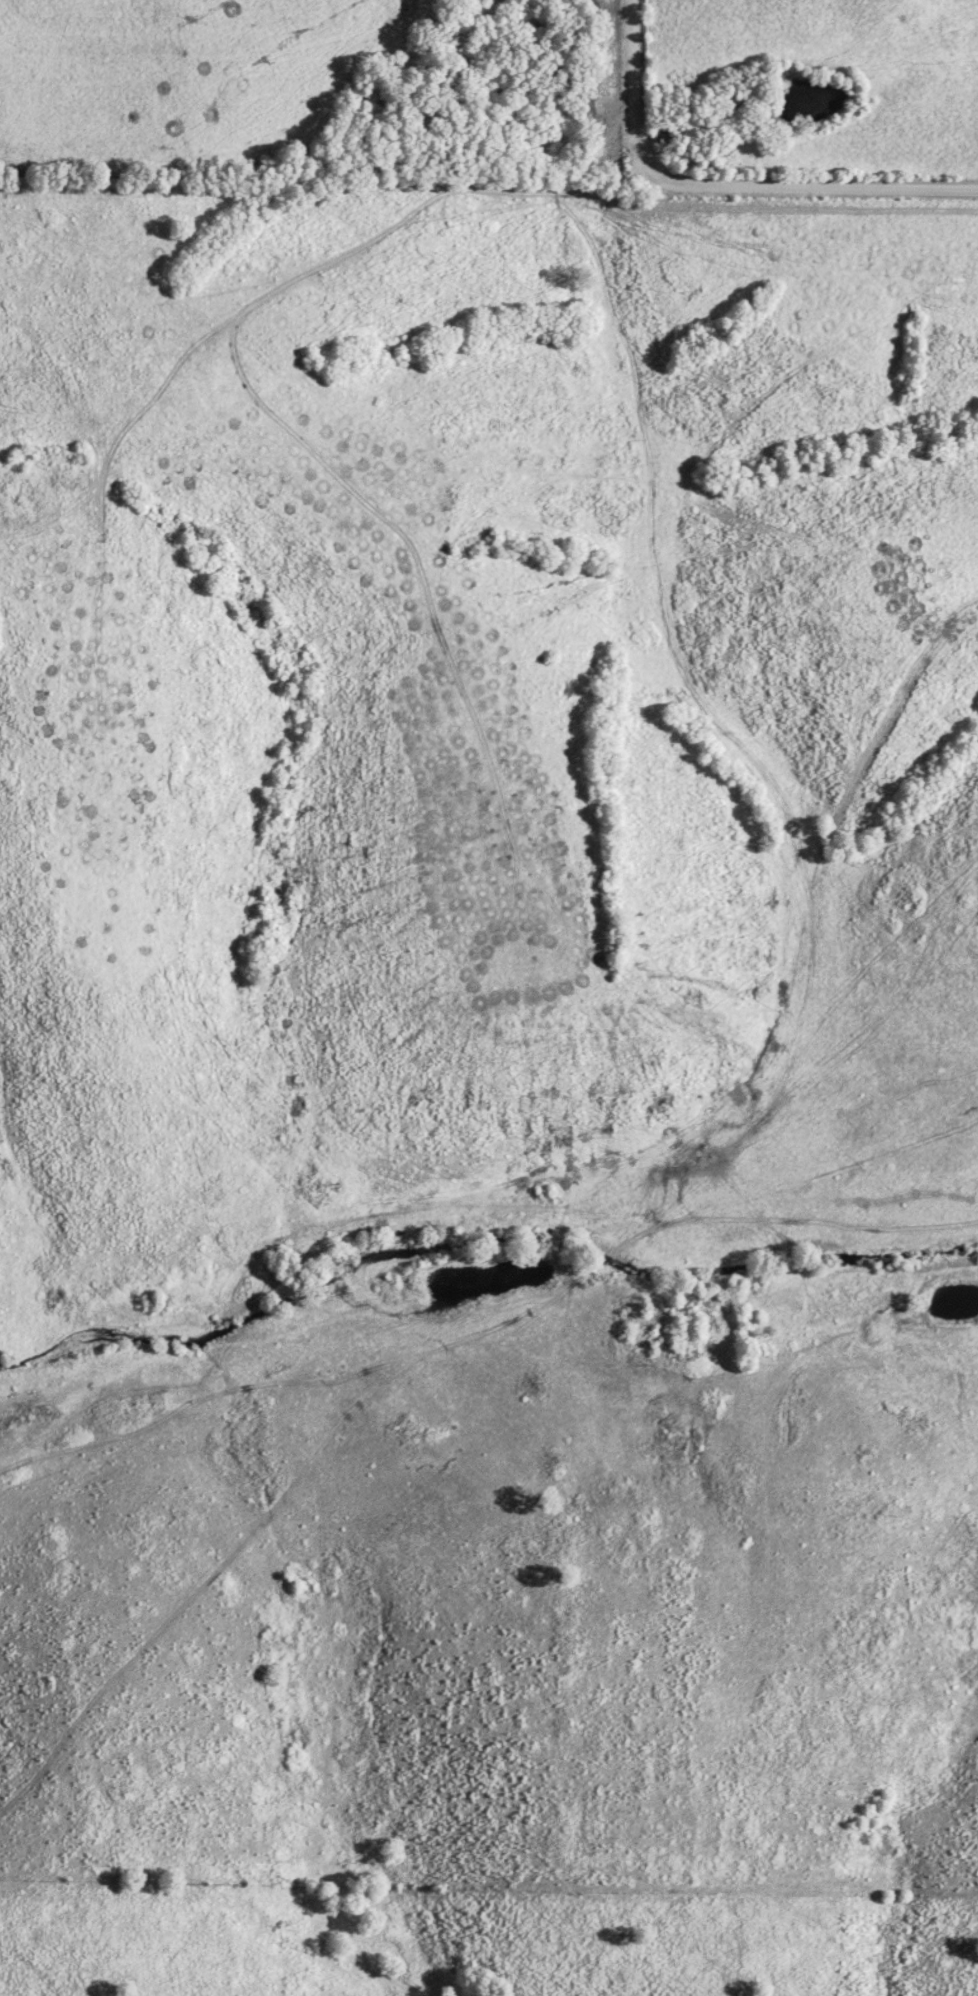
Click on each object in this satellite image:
road: (726, 187)

